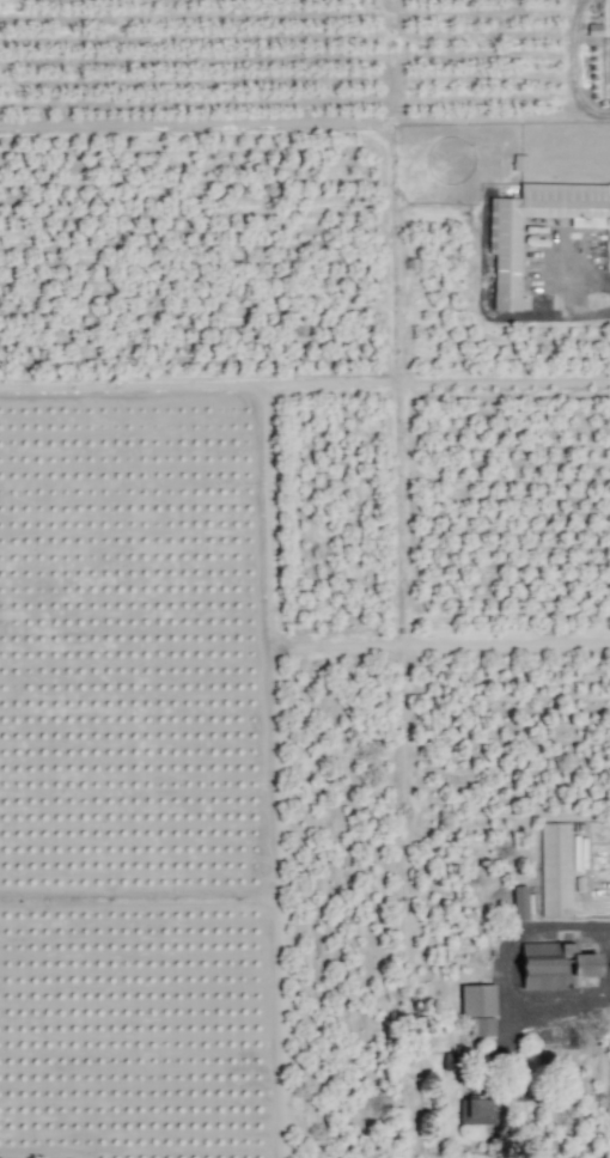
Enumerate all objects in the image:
building: (518, 164)
building: (504, 240)
road: (587, 309)
crop: (305, 579)
building: (555, 870)
building: (518, 903)
road: (520, 928)
building: (554, 965)
road: (541, 1005)
building: (477, 1007)
building: (450, 1061)
building: (476, 1110)

